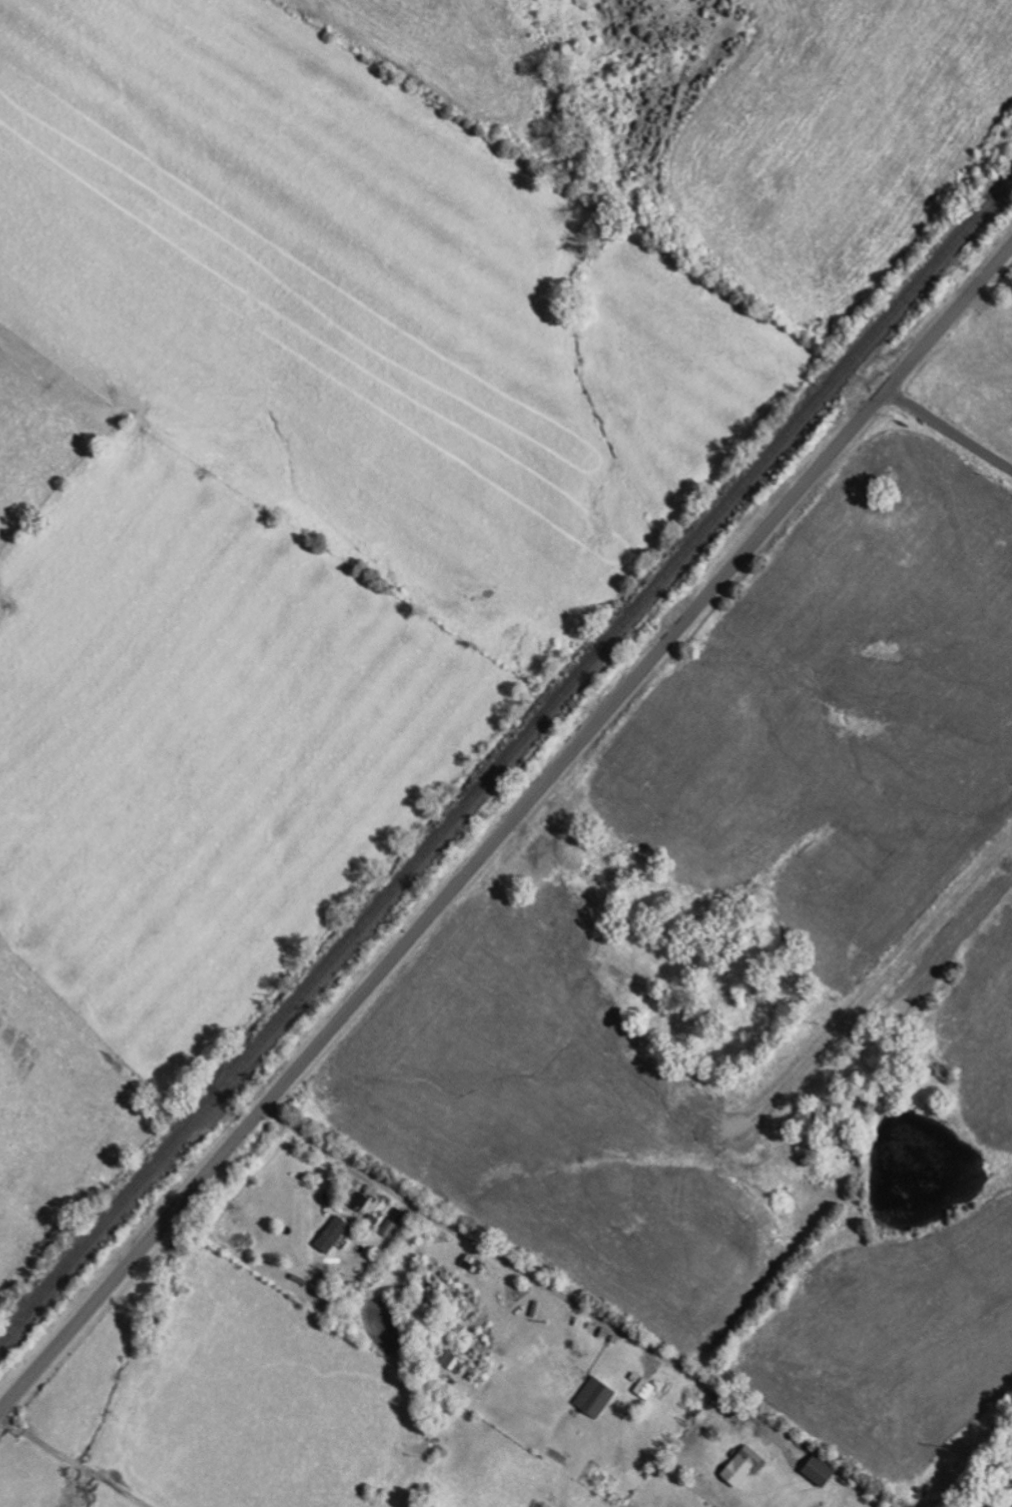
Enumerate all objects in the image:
road: (950, 428)
railway: (506, 764)
road: (505, 831)
building: (394, 1222)
building: (335, 1234)
road: (432, 1326)
building: (454, 1362)
building: (597, 1397)
road: (74, 1454)
building: (745, 1467)
building: (823, 1472)

